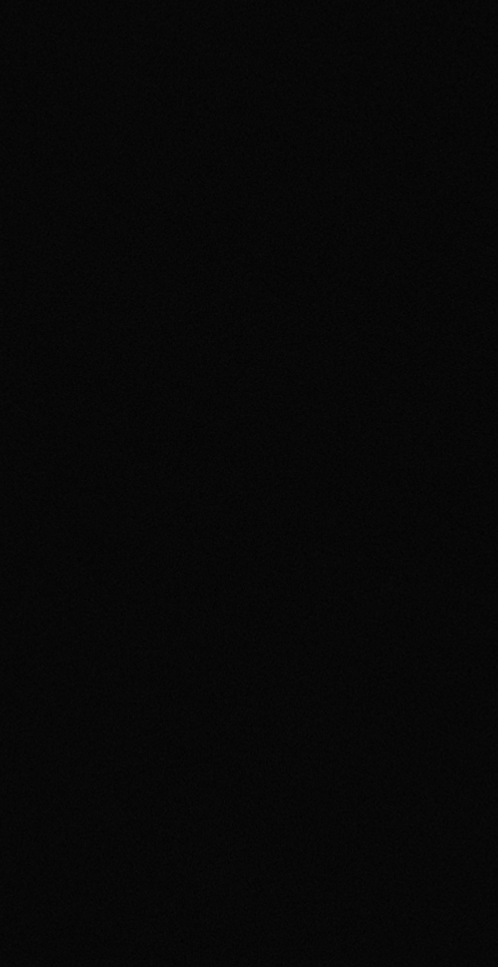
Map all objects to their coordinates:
river: (249, 389)

